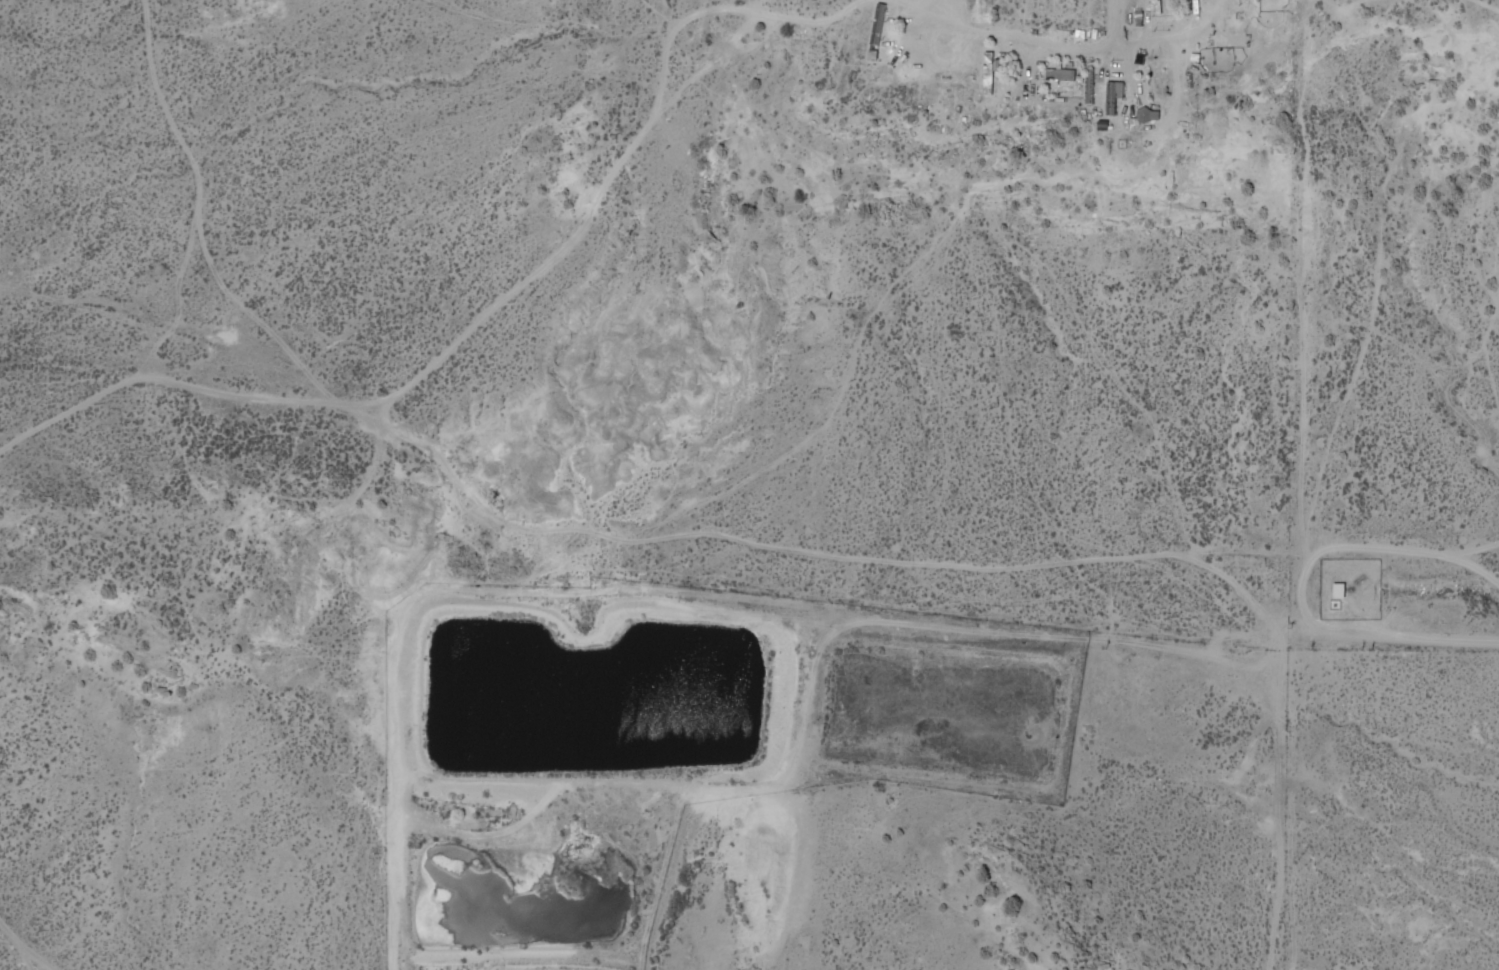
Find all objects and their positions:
road: (1019, 42)
road: (1125, 46)
road: (1136, 70)
road: (1310, 232)
road: (1436, 553)
road: (1316, 560)
road: (1292, 695)

